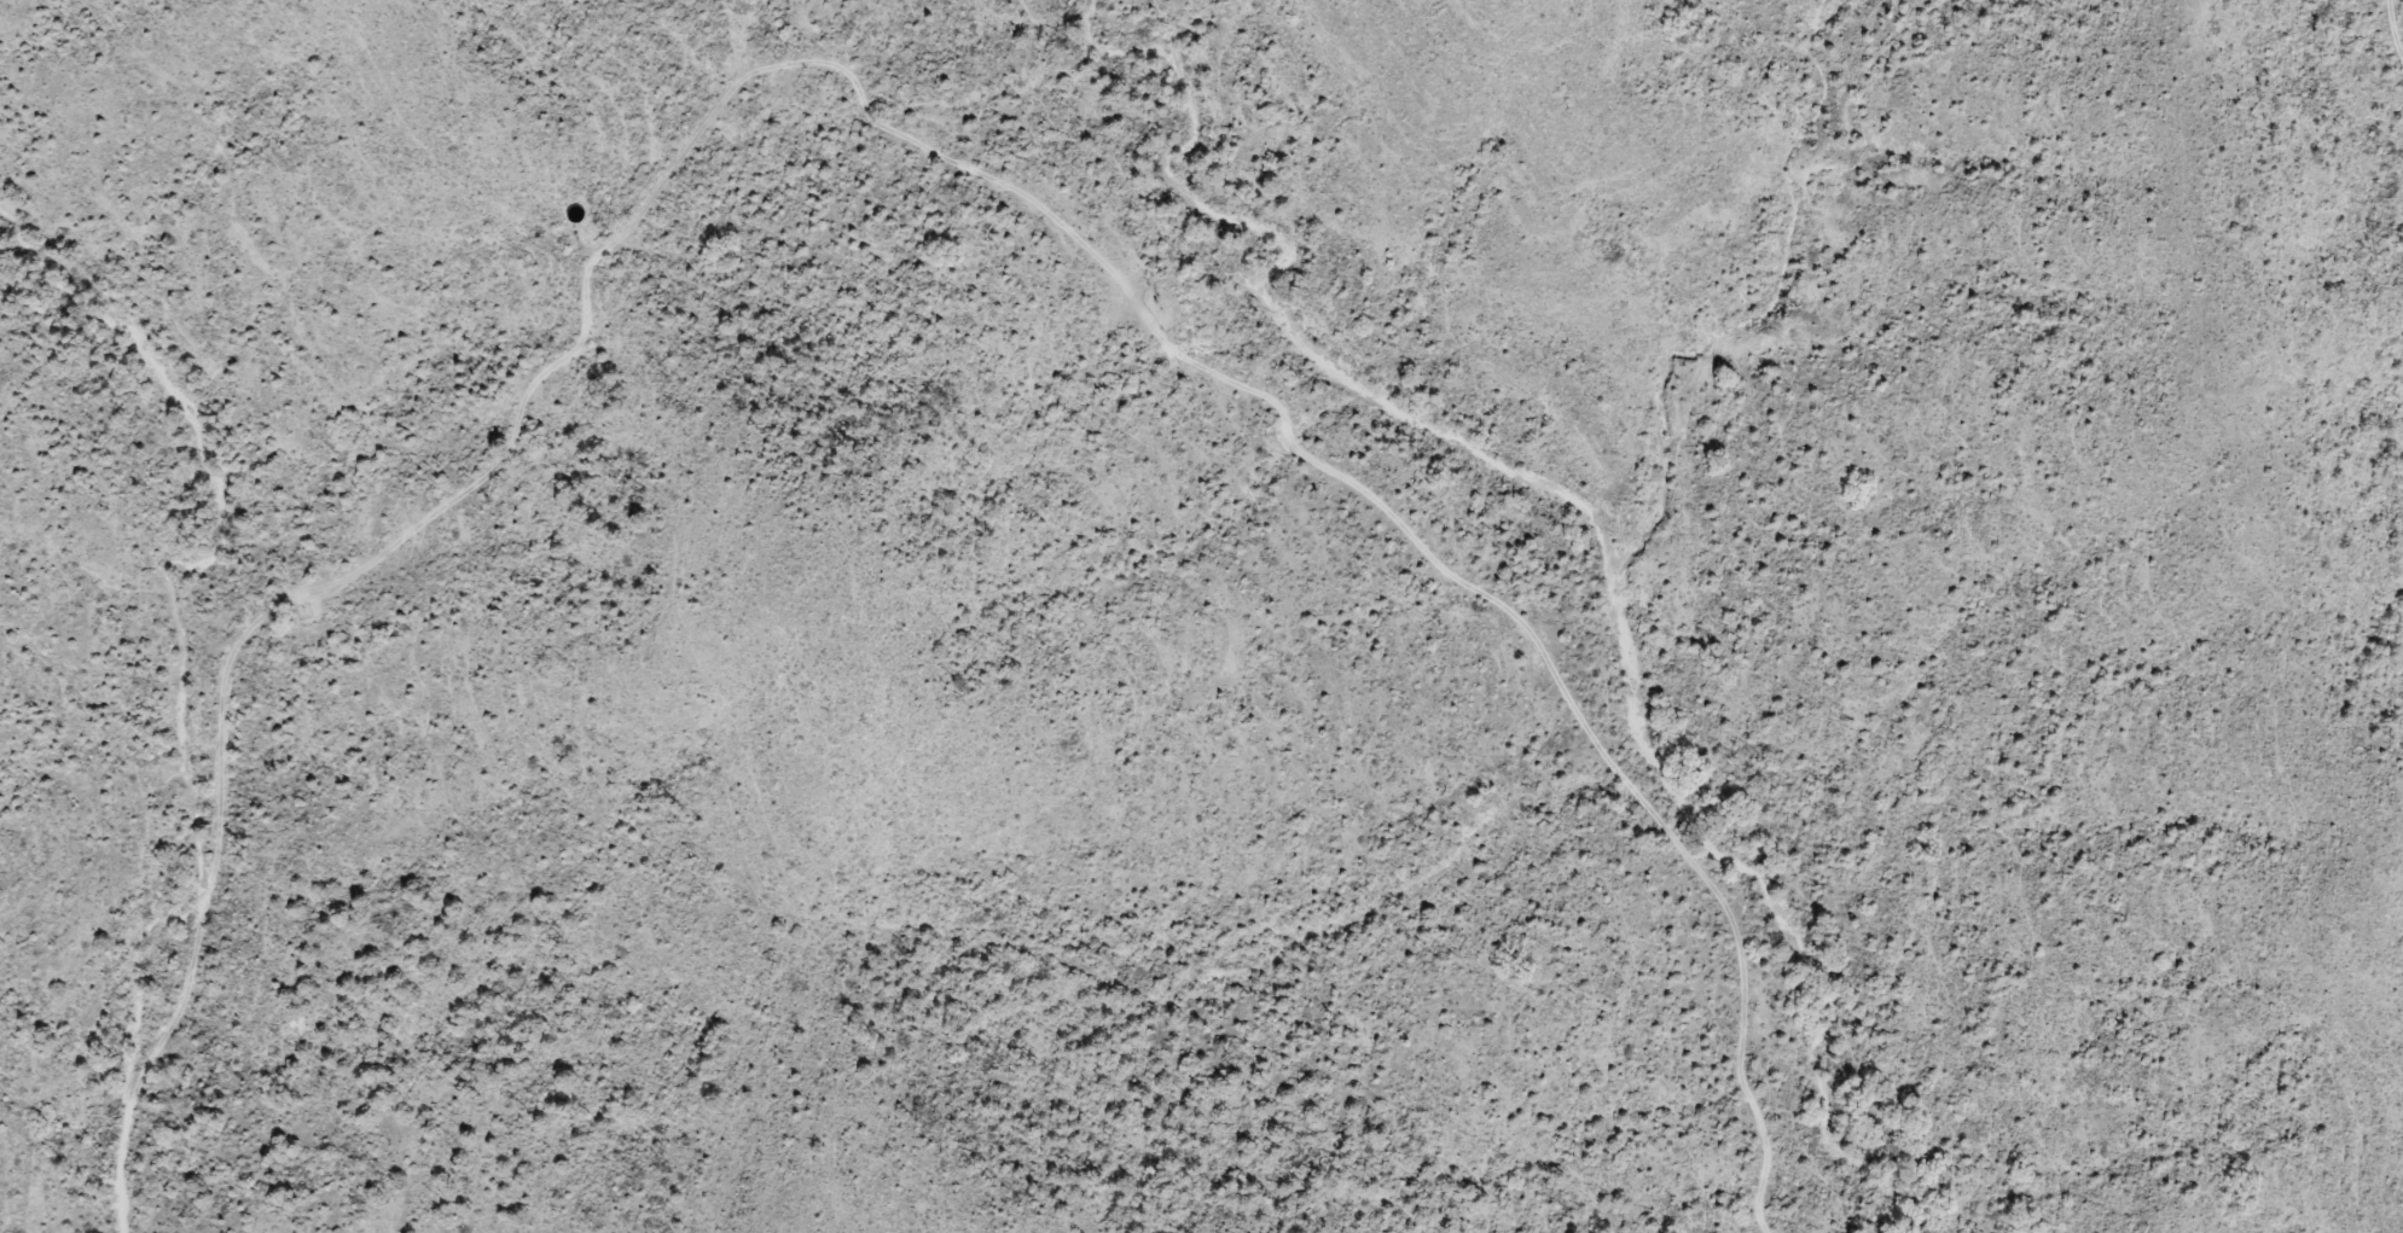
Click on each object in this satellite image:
road: (2395, 24)
road: (864, 95)

